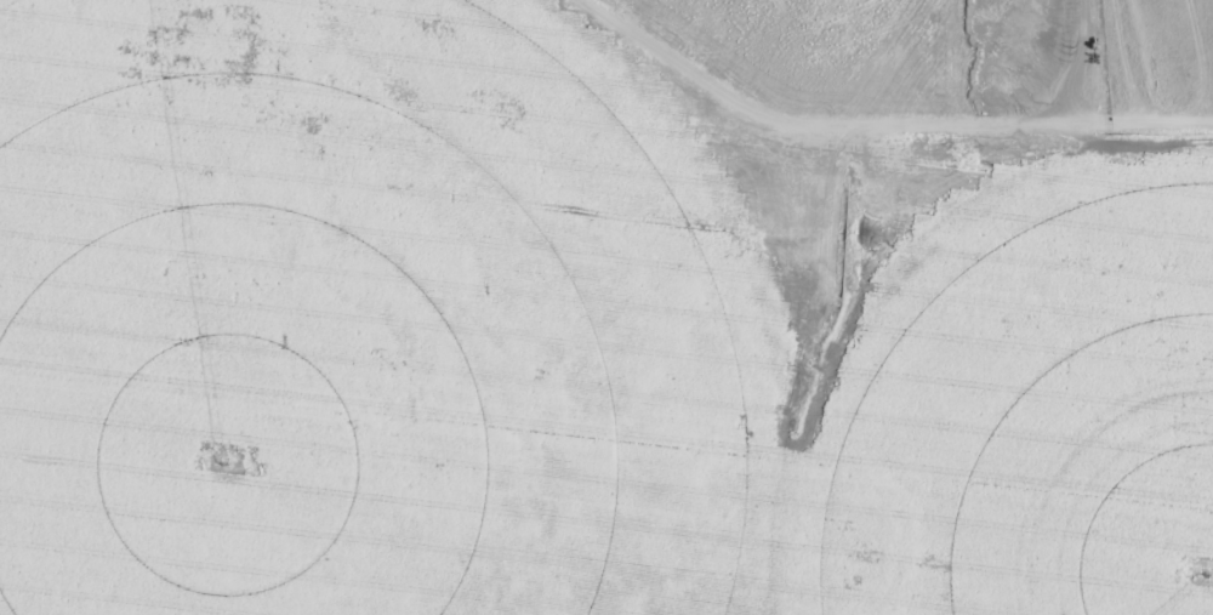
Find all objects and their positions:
road: (687, 146)

